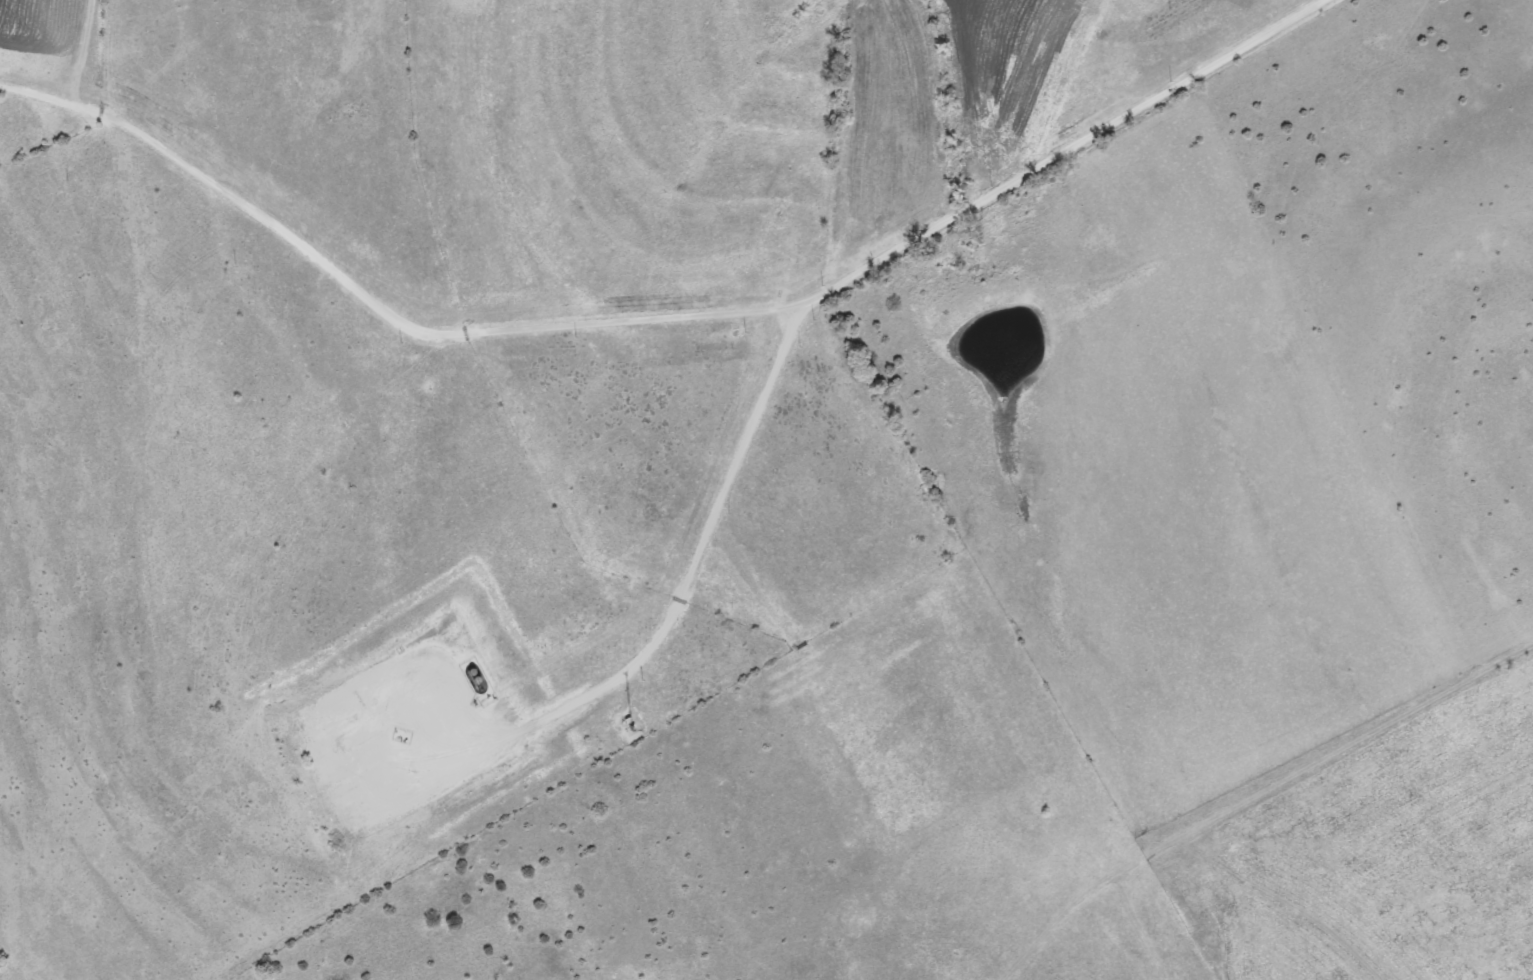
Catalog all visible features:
road: (815, 297)
road: (377, 308)

